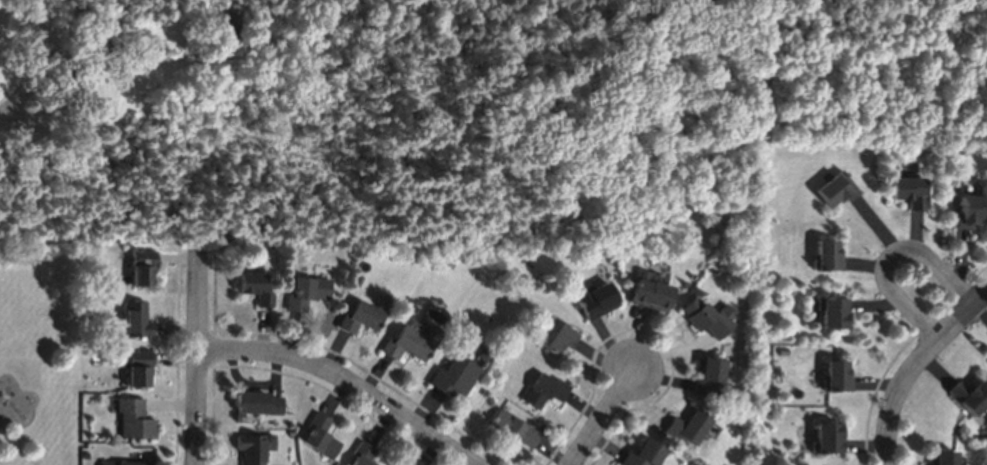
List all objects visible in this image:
building: (228, 21)
road: (24, 80)
building: (837, 189)
building: (909, 192)
building: (970, 211)
building: (828, 255)
road: (891, 258)
building: (142, 268)
building: (255, 288)
building: (651, 291)
building: (306, 292)
building: (595, 299)
building: (833, 313)
building: (707, 317)
building: (360, 318)
building: (136, 320)
building: (557, 336)
building: (410, 343)
park: (38, 353)
road: (197, 362)
building: (135, 367)
road: (914, 367)
building: (454, 376)
building: (837, 376)
building: (709, 377)
road: (345, 380)
building: (545, 390)
building: (969, 396)
building: (258, 403)
road: (602, 416)
building: (133, 420)
building: (688, 427)
building: (514, 428)
building: (320, 437)
building: (828, 438)
building: (254, 447)
building: (363, 454)
building: (643, 454)
building: (942, 458)
building: (123, 463)

